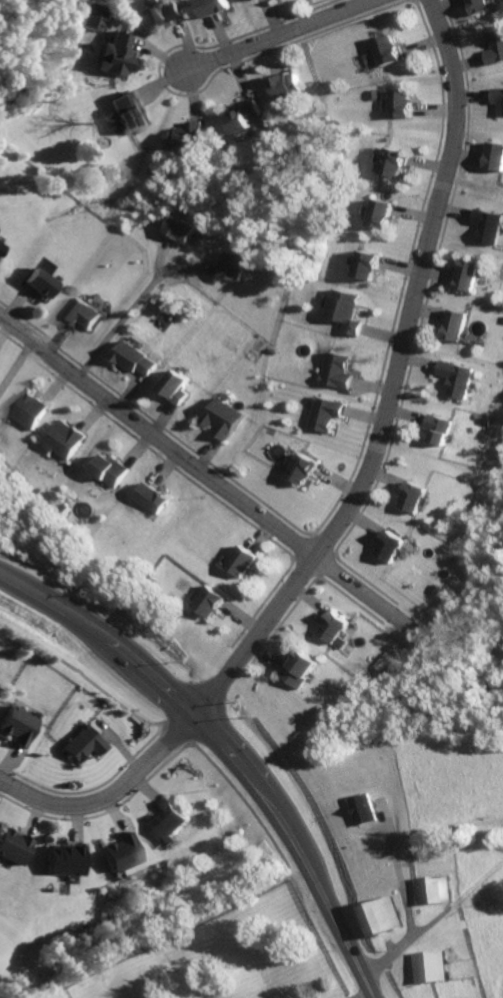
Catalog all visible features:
building: (258, 1)
building: (480, 6)
building: (214, 8)
building: (165, 14)
building: (92, 17)
road: (276, 36)
building: (496, 49)
building: (388, 51)
building: (115, 55)
building: (286, 88)
building: (497, 99)
building: (400, 103)
building: (129, 114)
building: (244, 117)
building: (184, 139)
building: (494, 159)
building: (395, 164)
building: (383, 214)
building: (490, 227)
building: (180, 229)
building: (2, 248)
road: (156, 255)
building: (371, 267)
building: (234, 268)
road: (189, 269)
building: (469, 276)
building: (36, 283)
building: (347, 313)
building: (85, 315)
building: (457, 327)
road: (119, 332)
building: (141, 361)
road: (13, 362)
building: (339, 373)
road: (392, 379)
building: (460, 379)
building: (181, 390)
building: (33, 414)
building: (328, 414)
building: (227, 419)
building: (442, 430)
building: (71, 441)
building: (307, 471)
building: (116, 472)
road: (205, 477)
building: (156, 498)
building: (419, 498)
building: (393, 551)
building: (247, 562)
road: (52, 600)
building: (214, 604)
building: (335, 632)
road: (117, 645)
building: (301, 673)
road: (167, 685)
building: (21, 727)
road: (221, 737)
building: (85, 745)
road: (259, 783)
road: (112, 794)
building: (363, 811)
building: (168, 823)
crop: (461, 825)
building: (11, 846)
building: (122, 852)
building: (64, 860)
building: (436, 890)
road: (326, 900)
road: (408, 900)
building: (382, 916)
building: (433, 964)
road: (361, 996)

